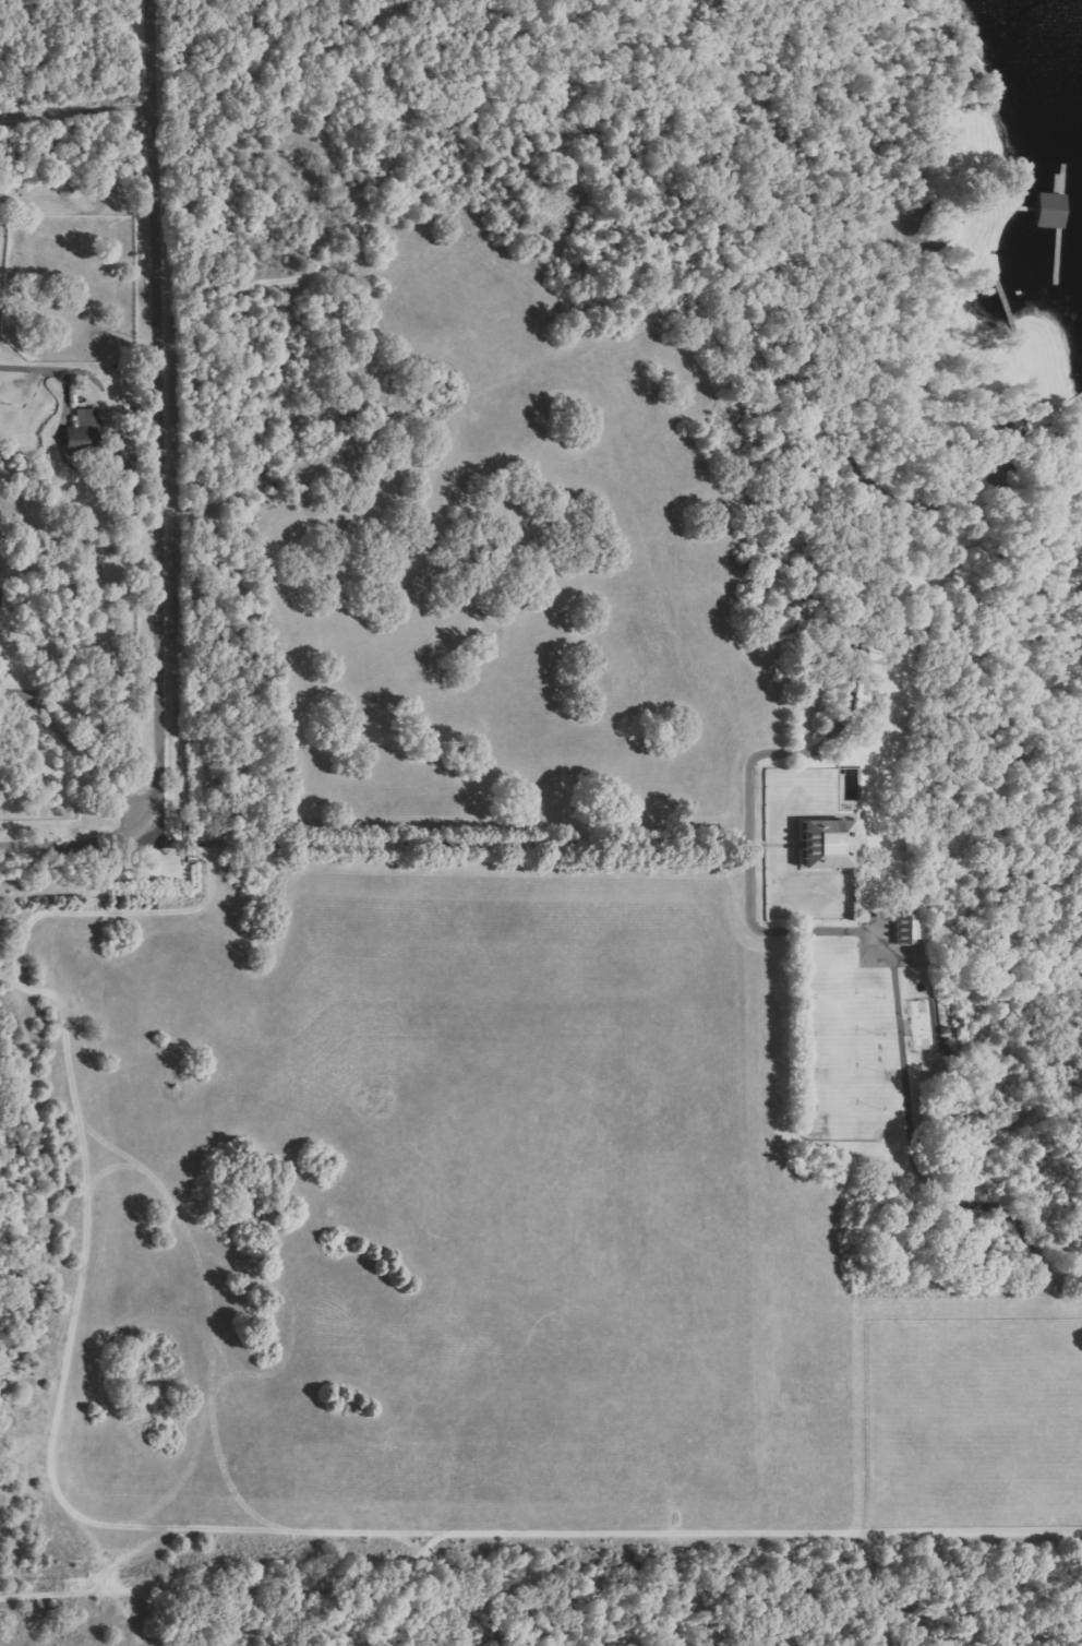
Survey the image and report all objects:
road: (154, 182)
building: (81, 429)
road: (163, 591)
road: (77, 842)
building: (827, 843)
road: (342, 845)
building: (907, 929)

